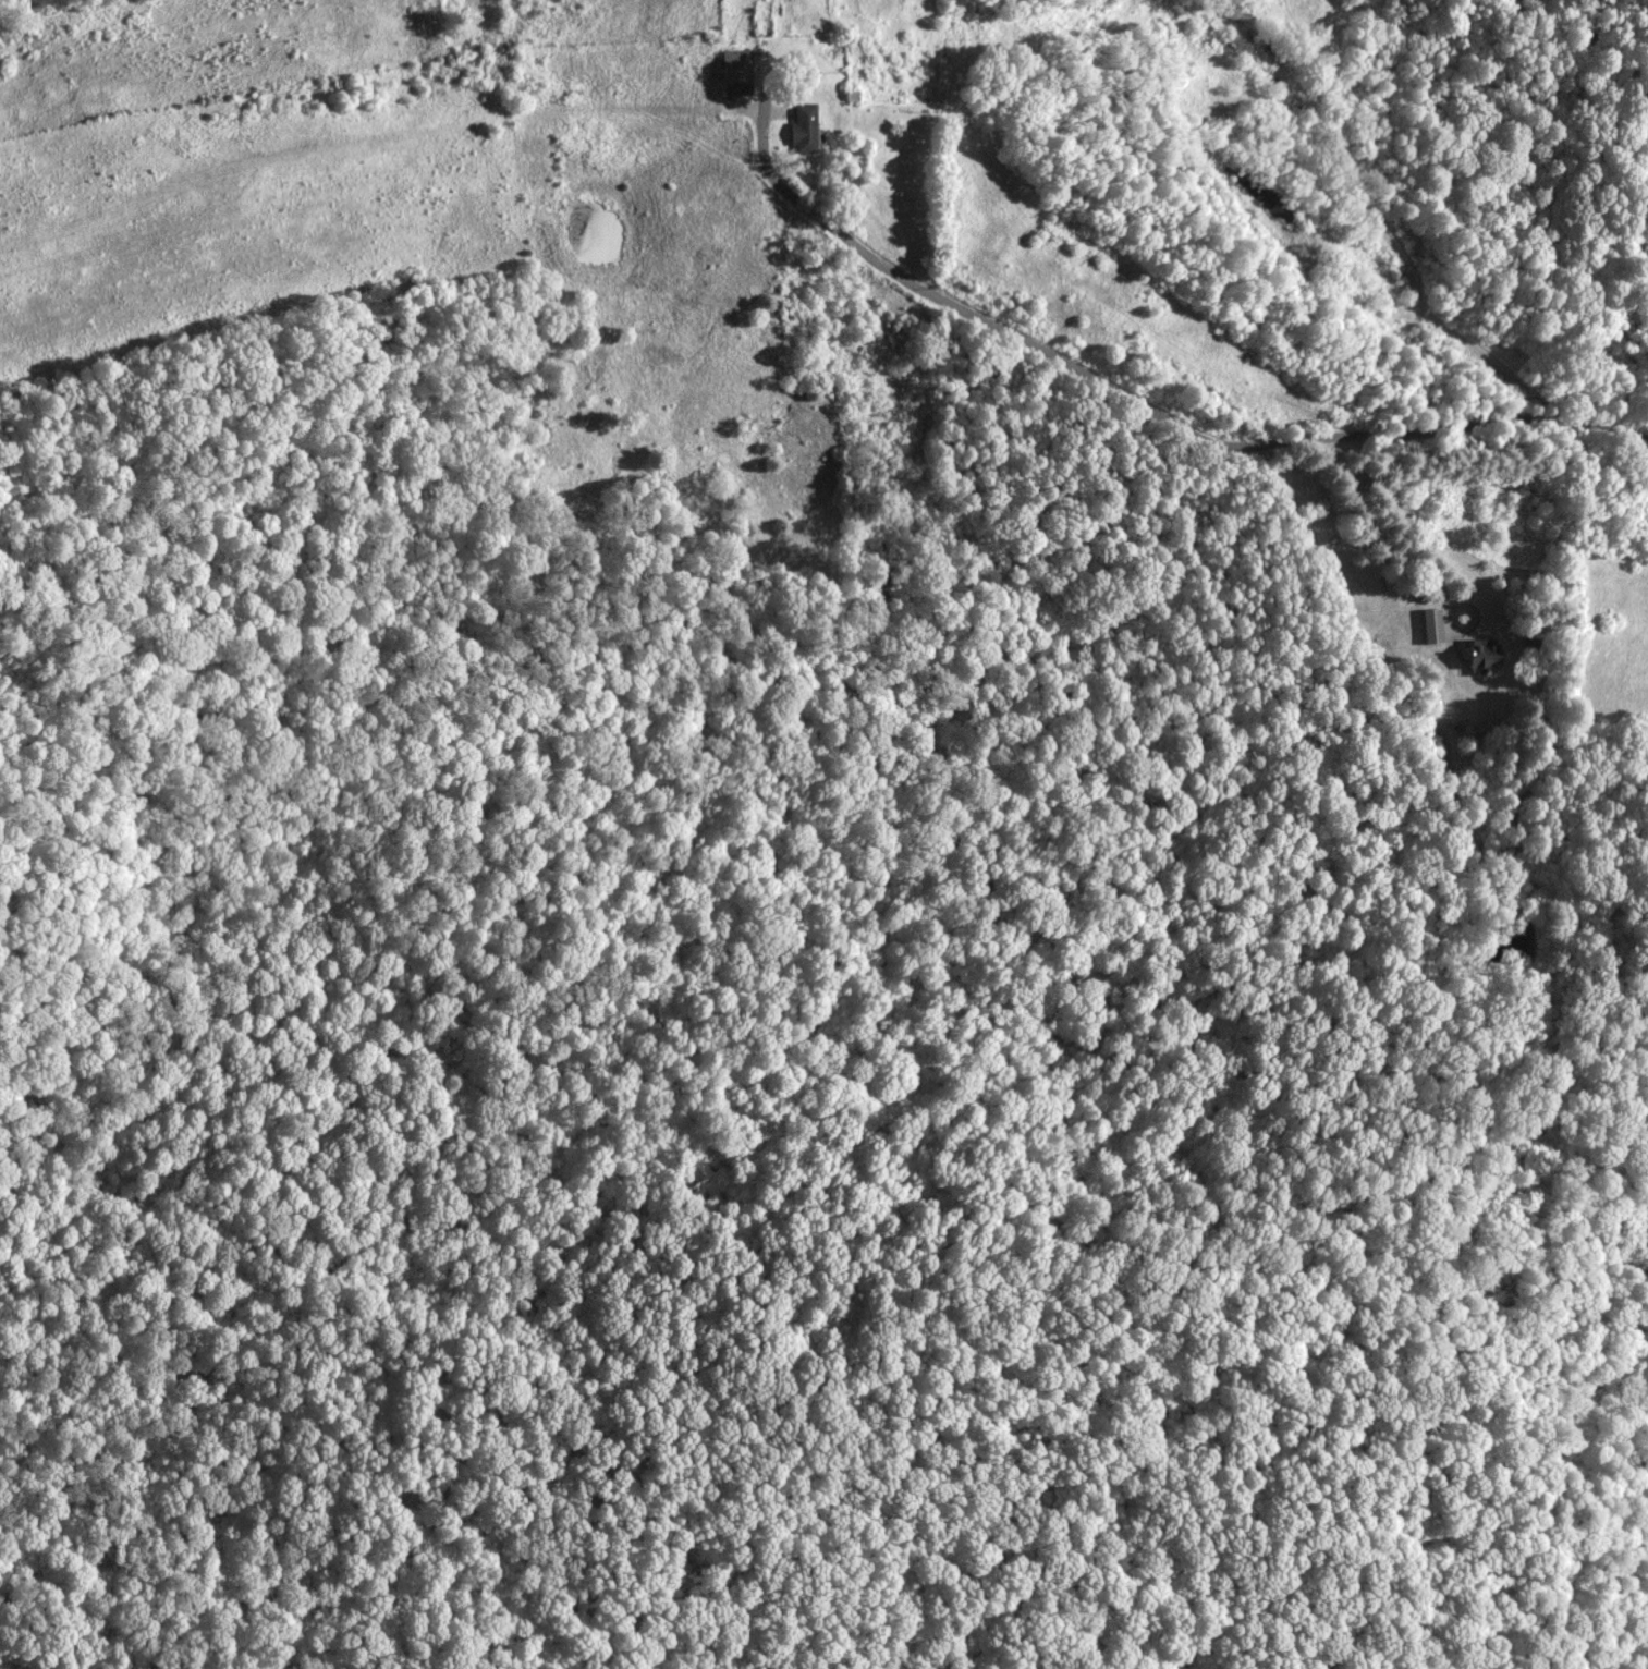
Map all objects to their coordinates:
building: (1235, 11)
building: (735, 72)
building: (803, 127)
road: (1413, 251)
building: (1431, 626)
building: (1482, 655)

